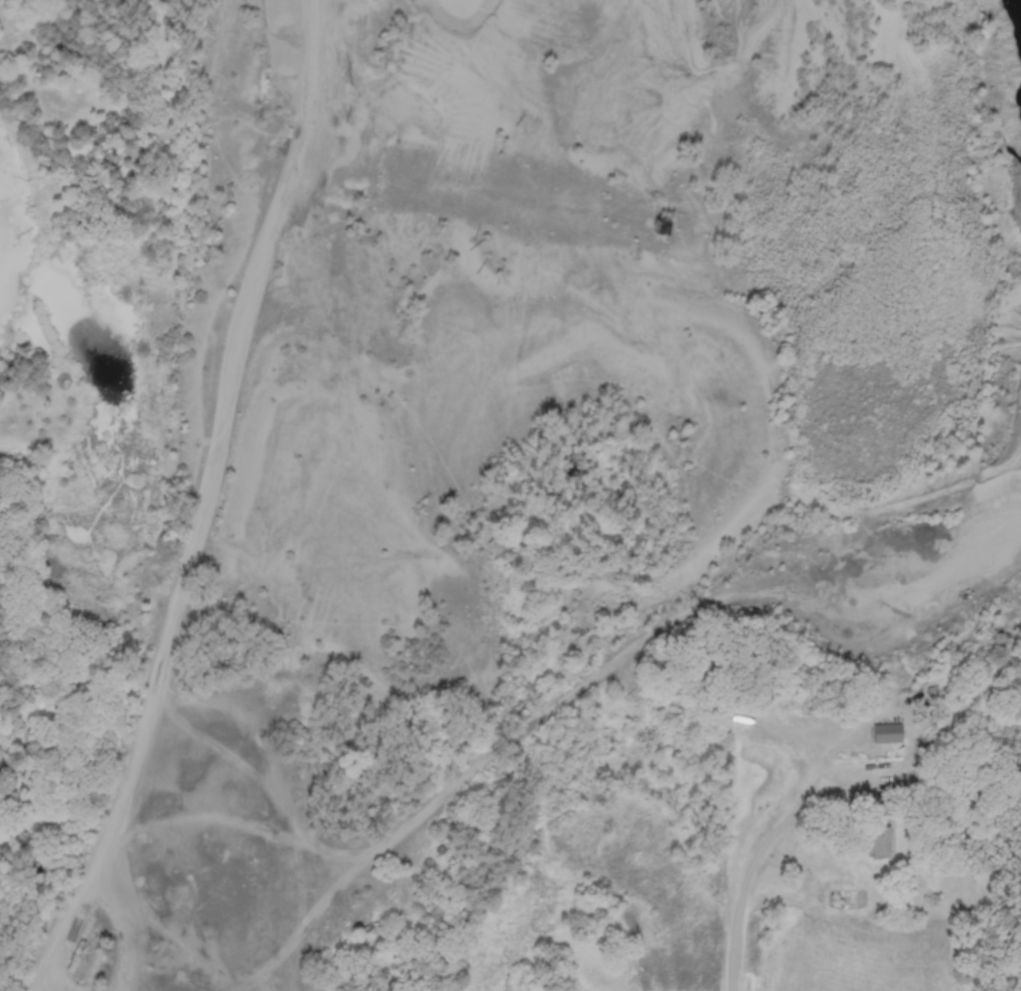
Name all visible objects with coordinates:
building: (888, 735)
building: (884, 844)
road: (771, 848)
building: (80, 957)
building: (94, 971)

